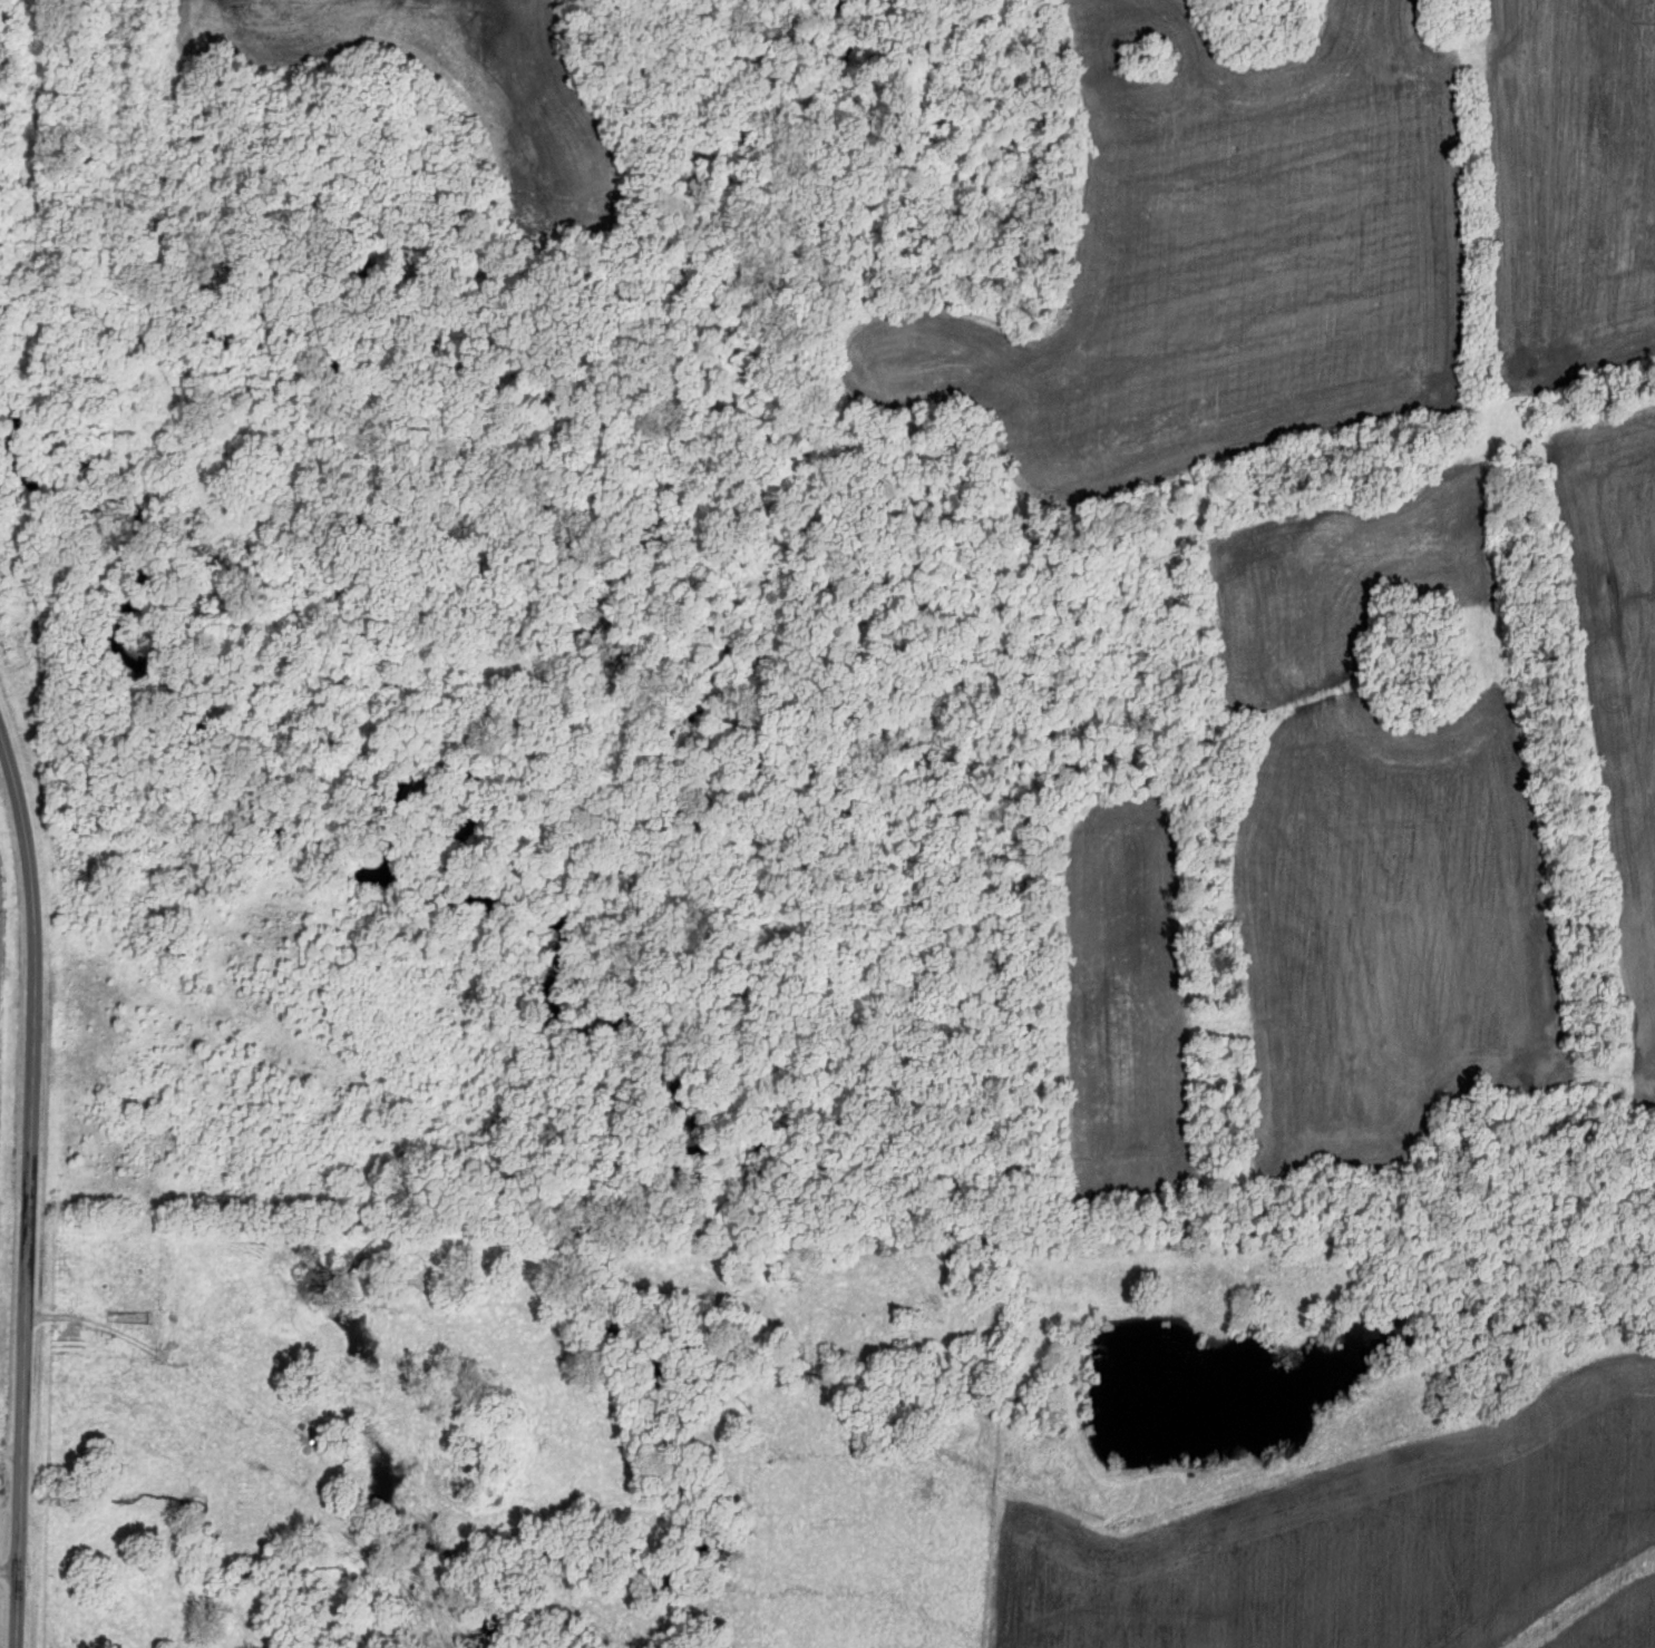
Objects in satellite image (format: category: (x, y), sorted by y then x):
road: (25, 1191)

